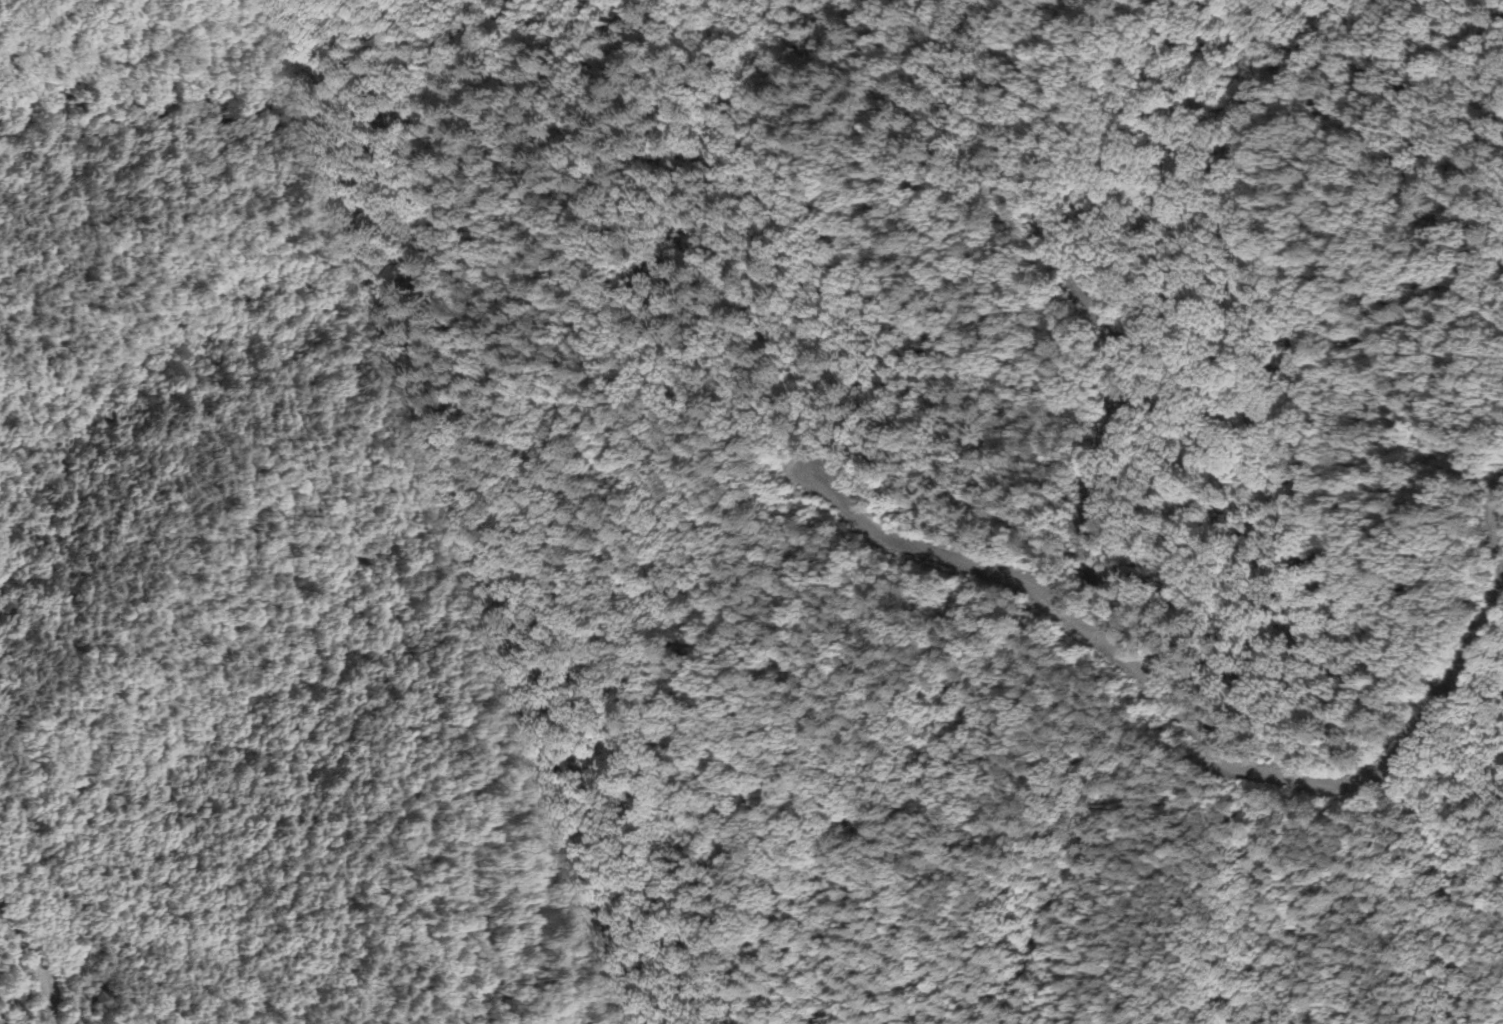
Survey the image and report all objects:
road: (1500, 512)
road: (1208, 743)
road: (39, 965)

